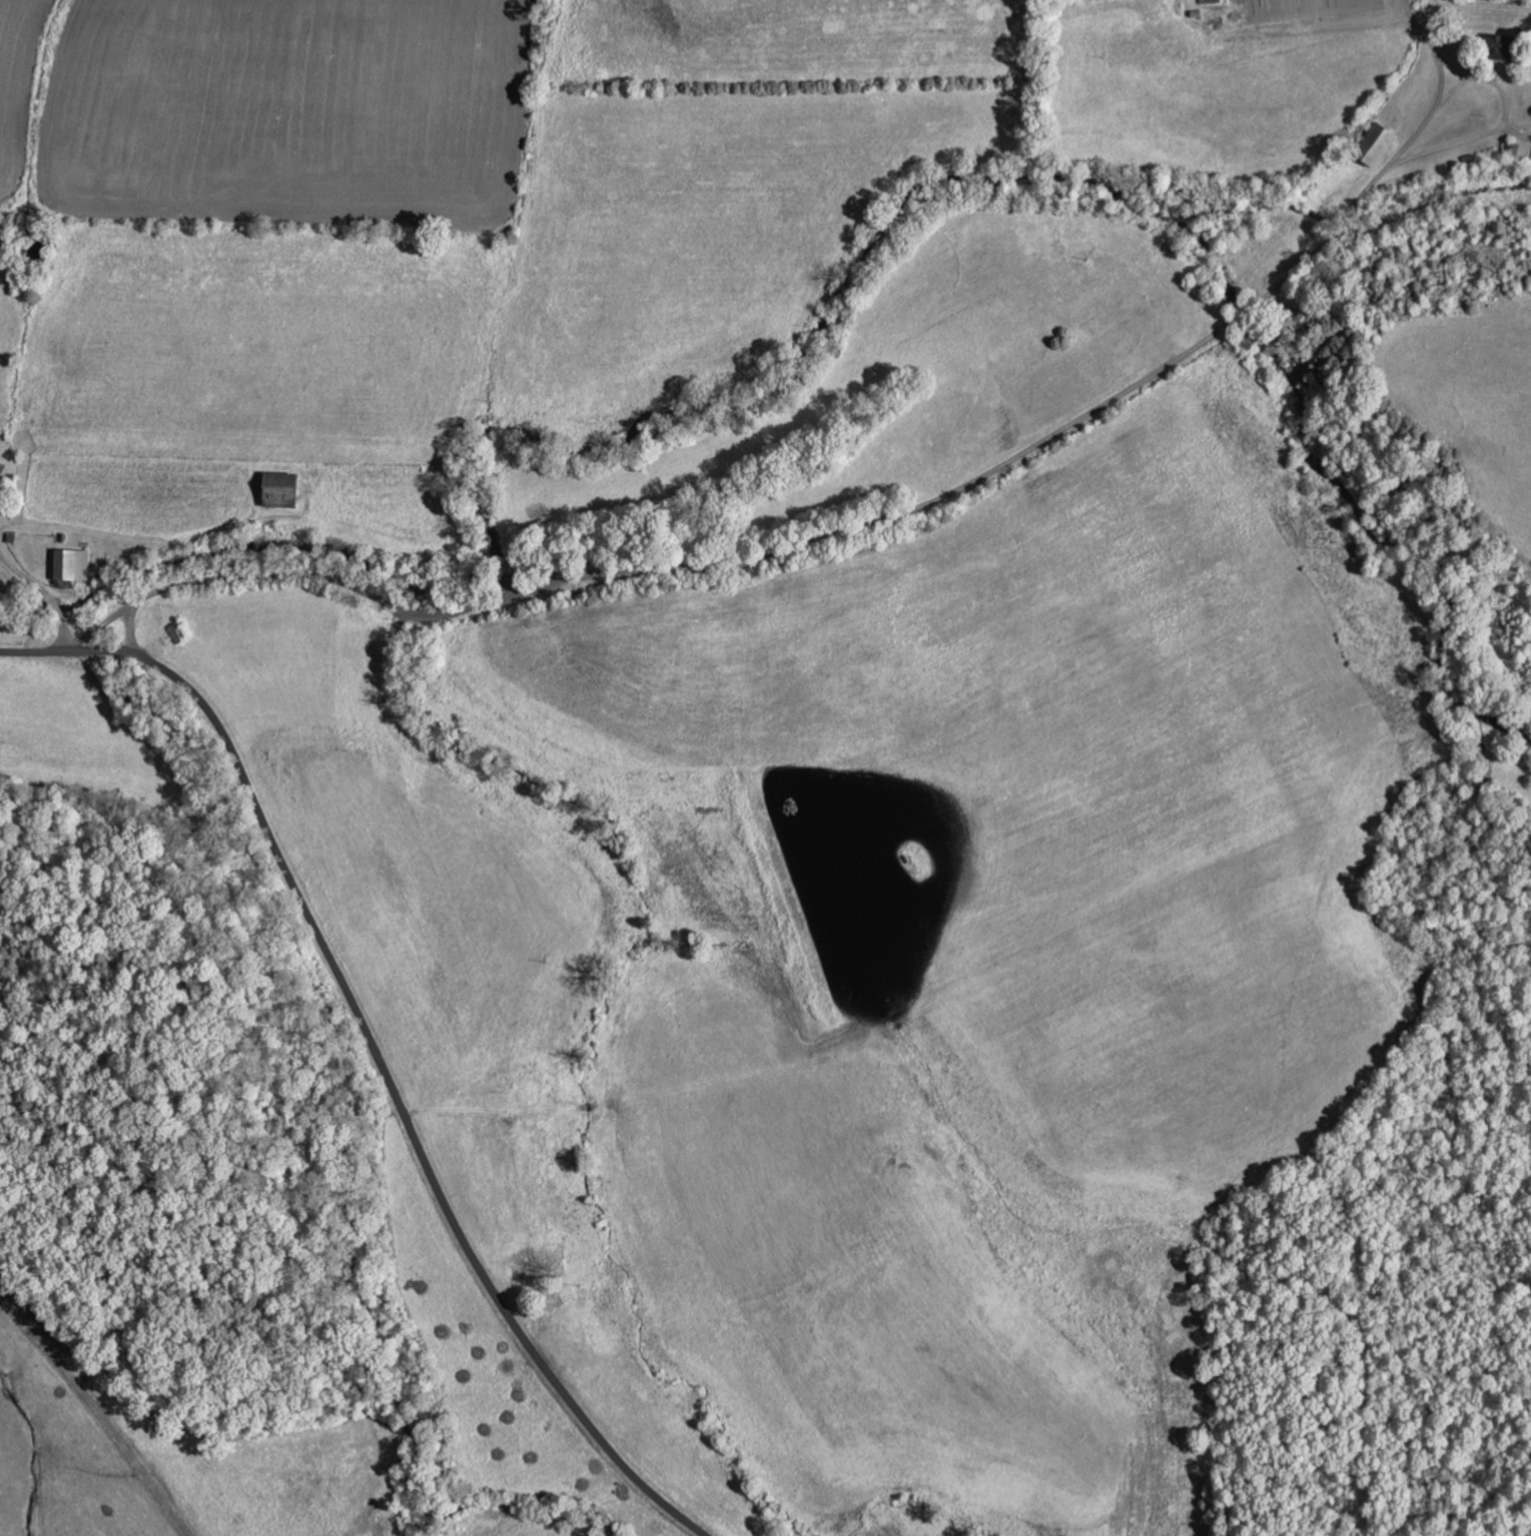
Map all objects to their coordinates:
building: (1372, 143)
building: (276, 491)
road: (957, 524)
building: (67, 564)
road: (45, 595)
road: (371, 1045)

